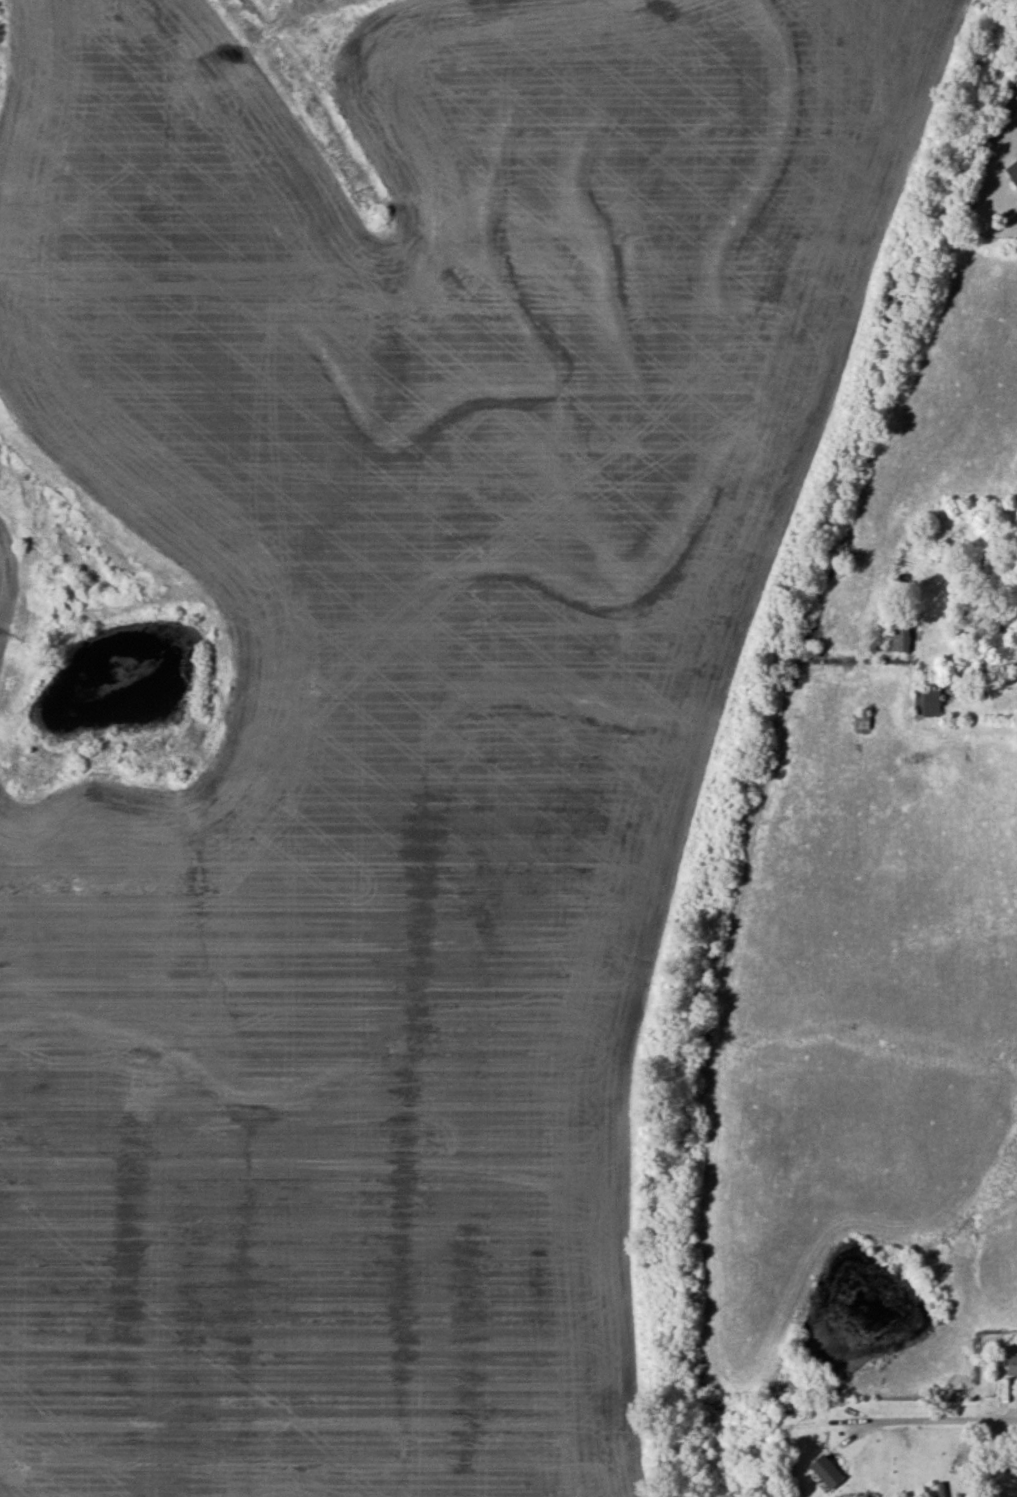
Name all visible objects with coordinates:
building: (1012, 174)
building: (900, 635)
building: (812, 653)
road: (924, 679)
building: (926, 703)
building: (861, 722)
building: (1011, 1367)
road: (933, 1420)
building: (826, 1473)

